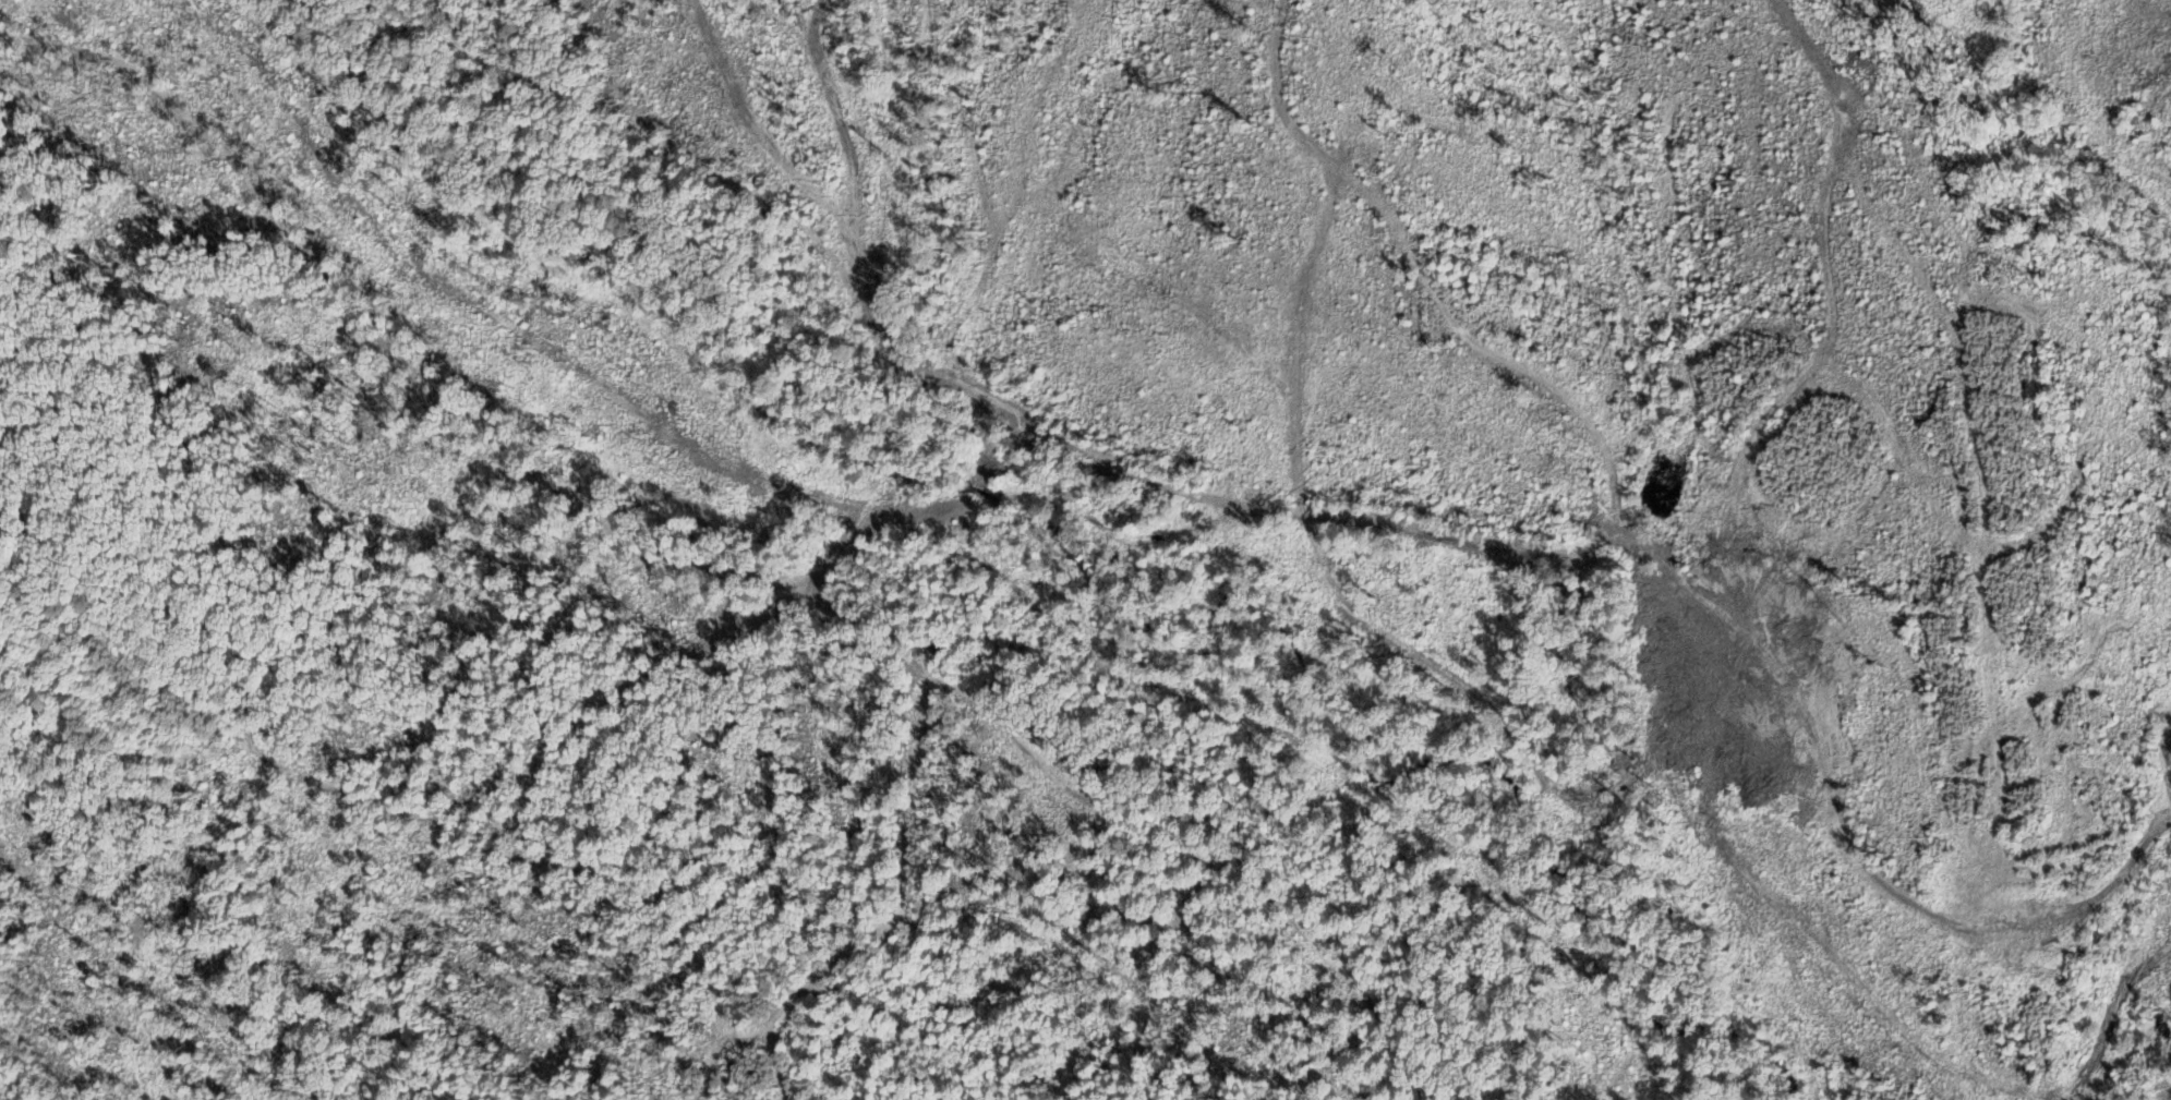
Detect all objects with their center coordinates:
road: (2163, 761)

